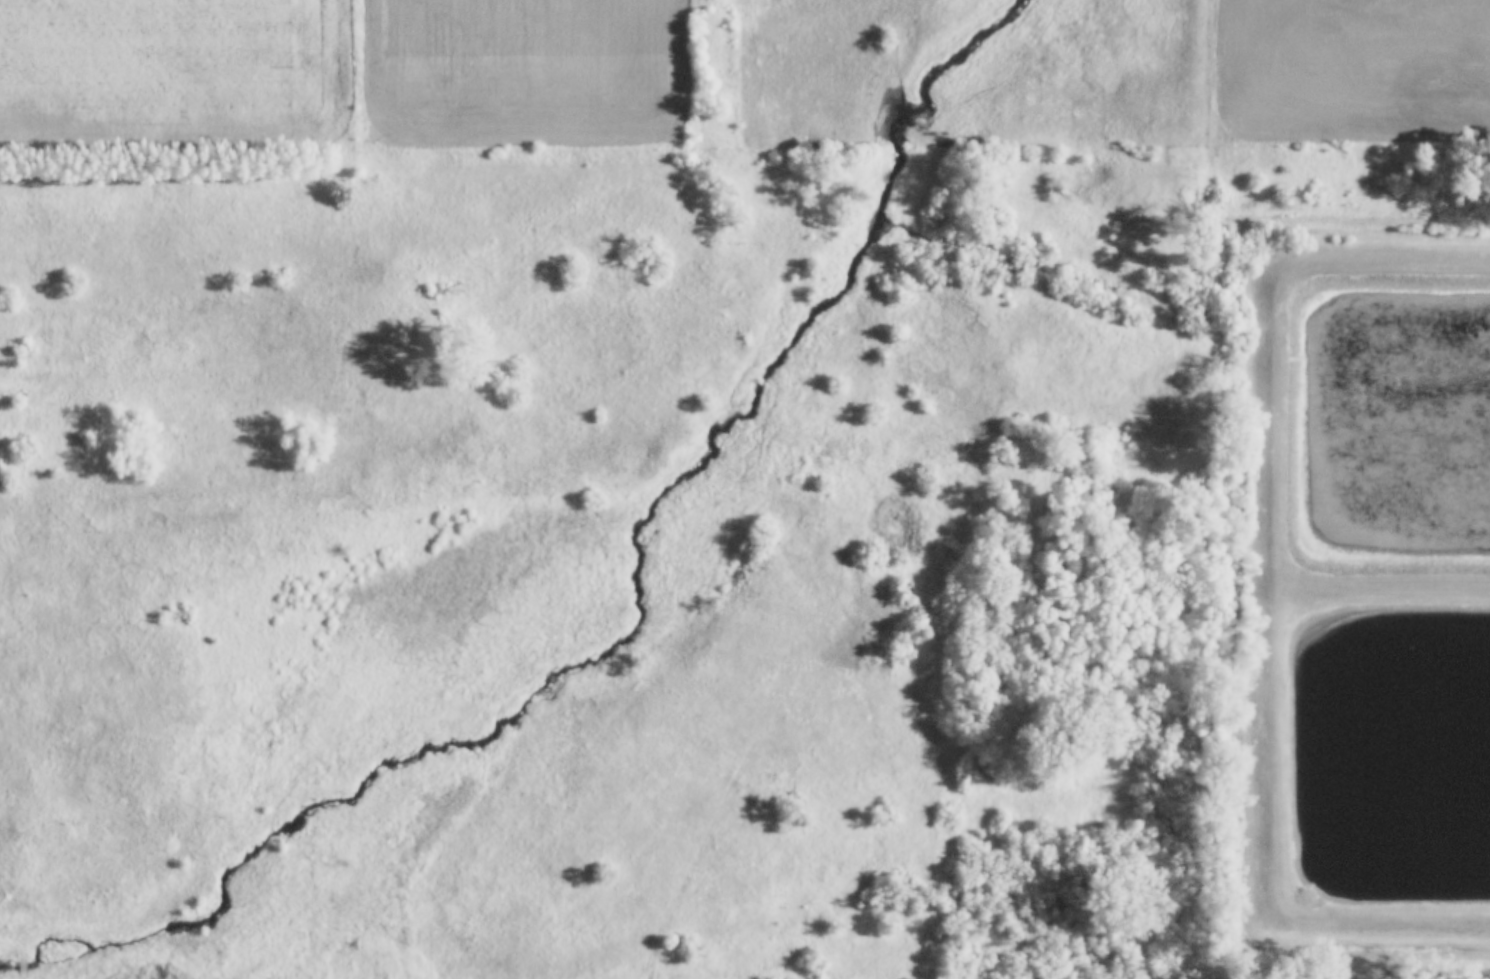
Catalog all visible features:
road: (834, 587)
road: (1270, 590)
road: (1380, 590)

